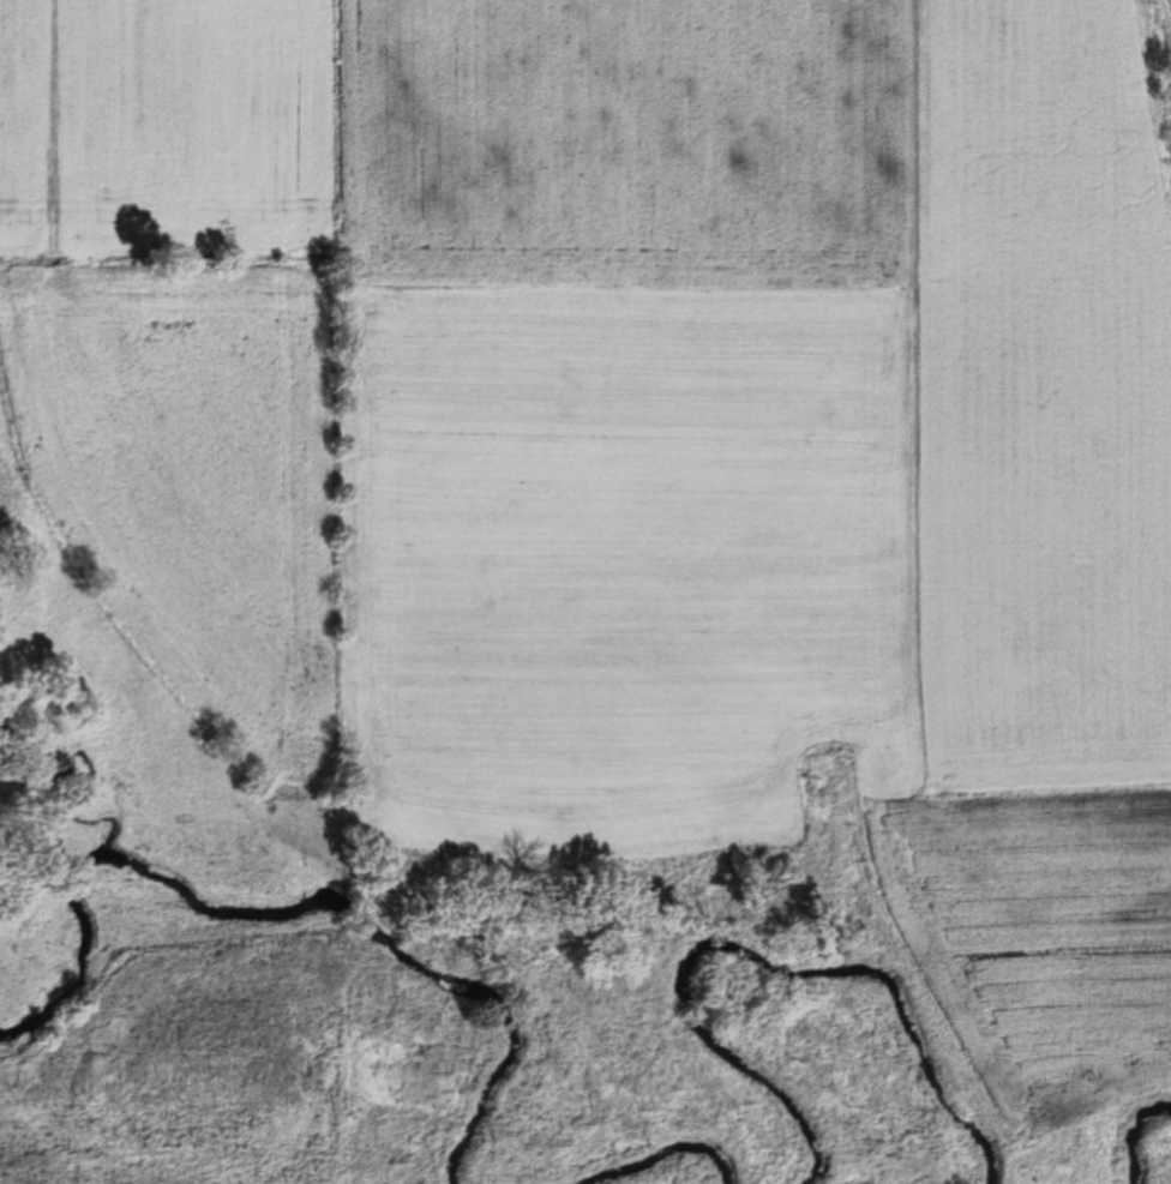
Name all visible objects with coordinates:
river: (299, 910)
river: (759, 948)
river: (1135, 1138)
river: (650, 1158)

